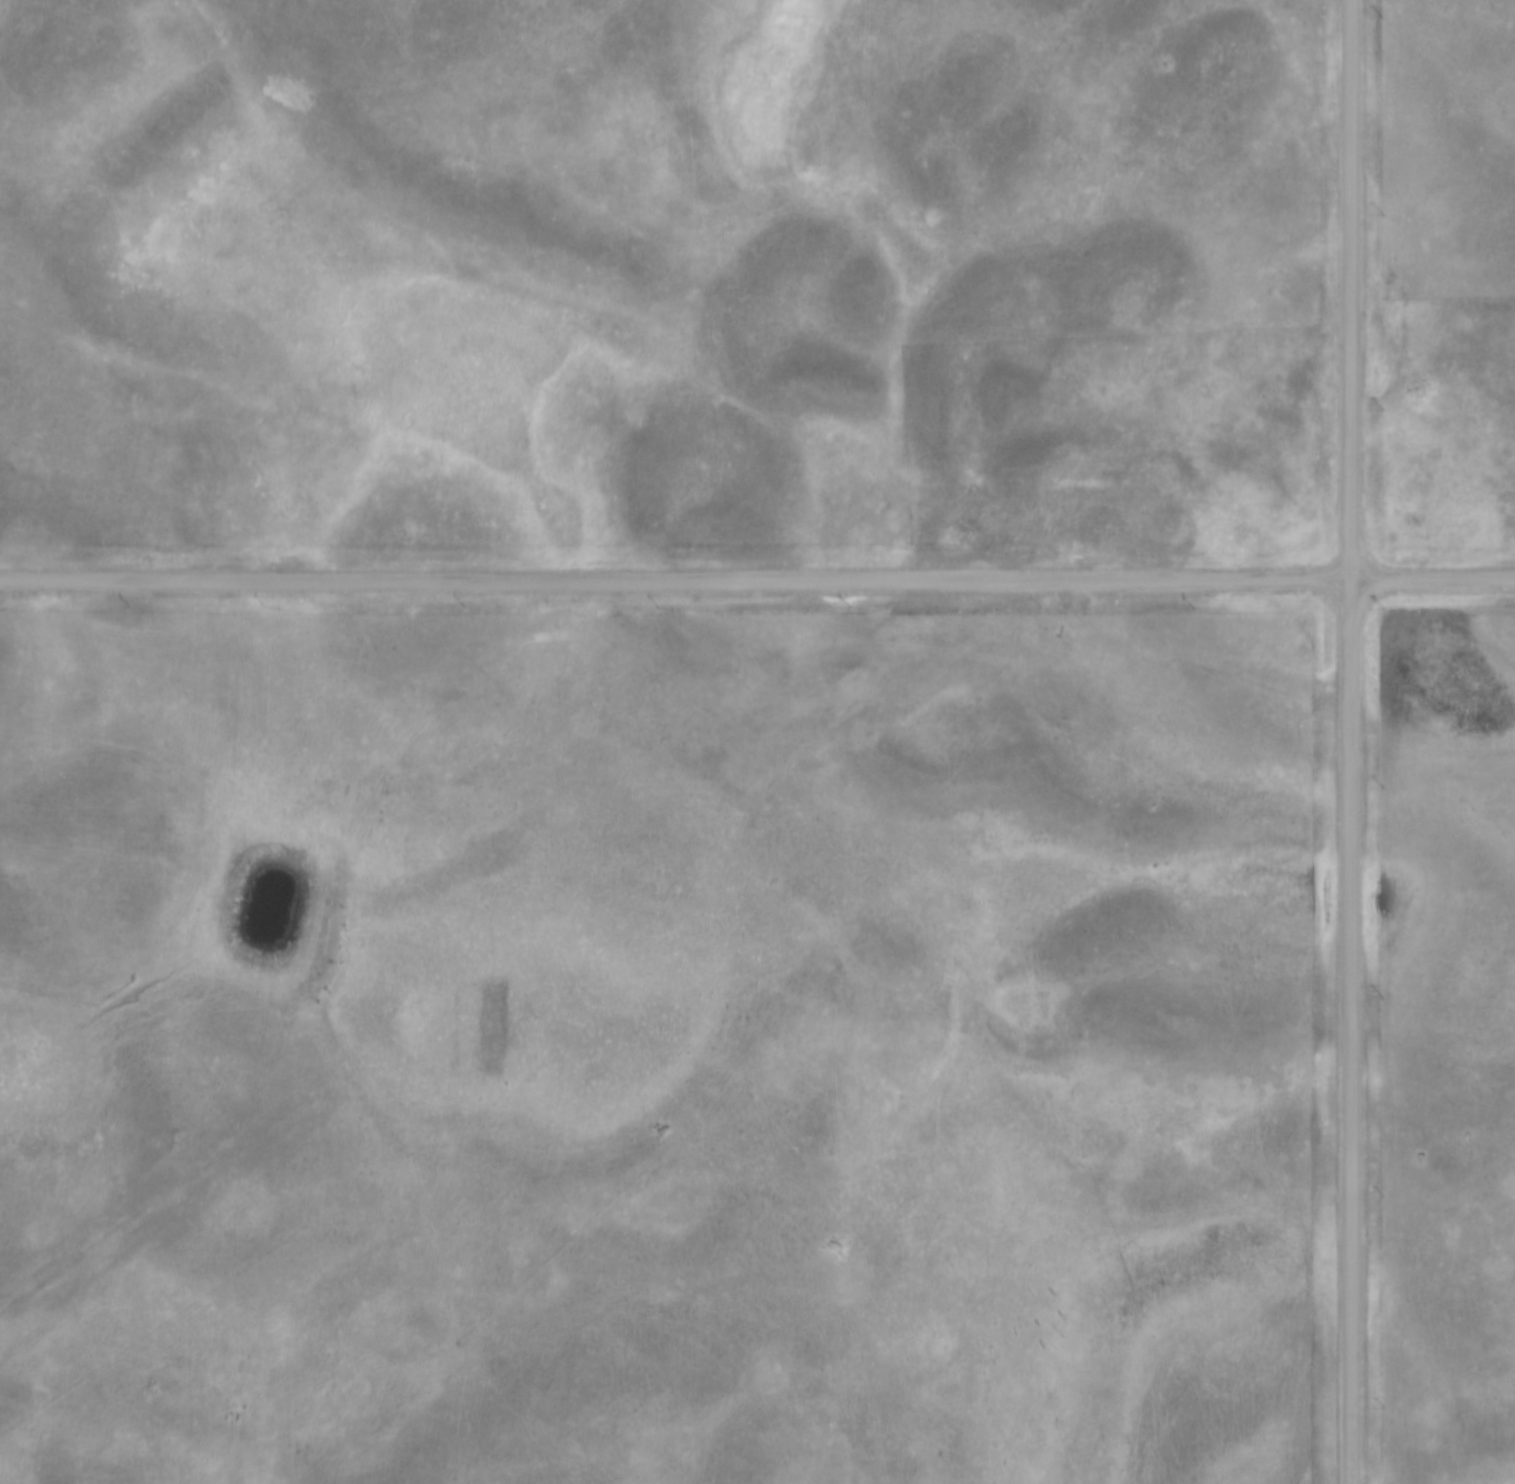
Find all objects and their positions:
road: (1353, 290)
road: (684, 580)
road: (1425, 580)
road: (1508, 580)
road: (1350, 630)
road: (782, 653)
road: (1350, 1082)

